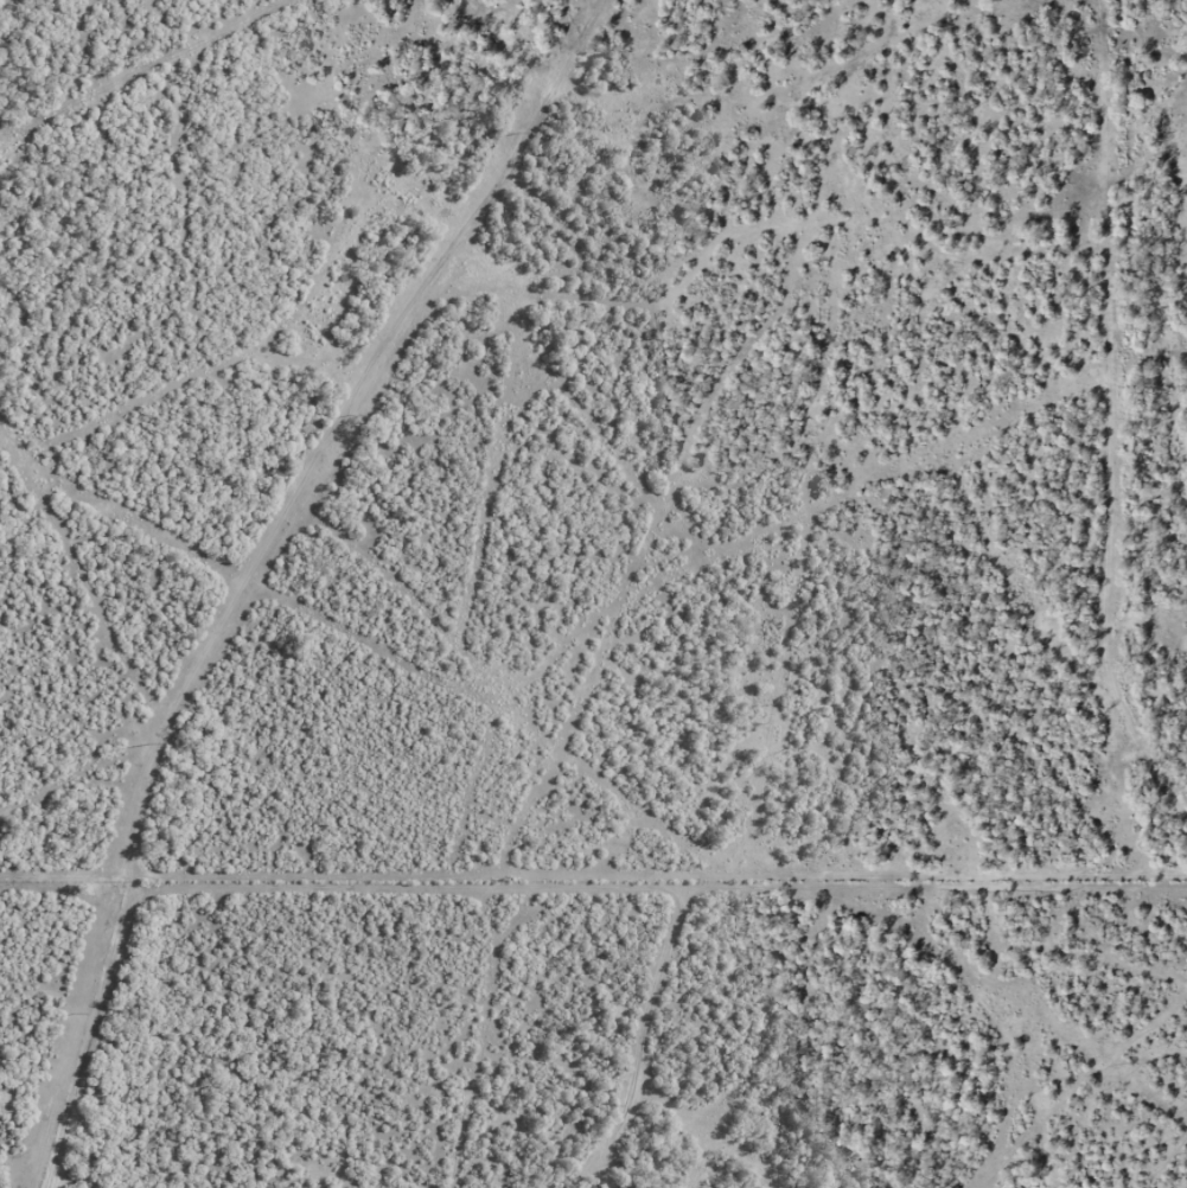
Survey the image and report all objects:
power tower: (517, 133)
power tower: (345, 417)
power tower: (147, 746)
power tower: (72, 1015)
building: (632, 1187)

